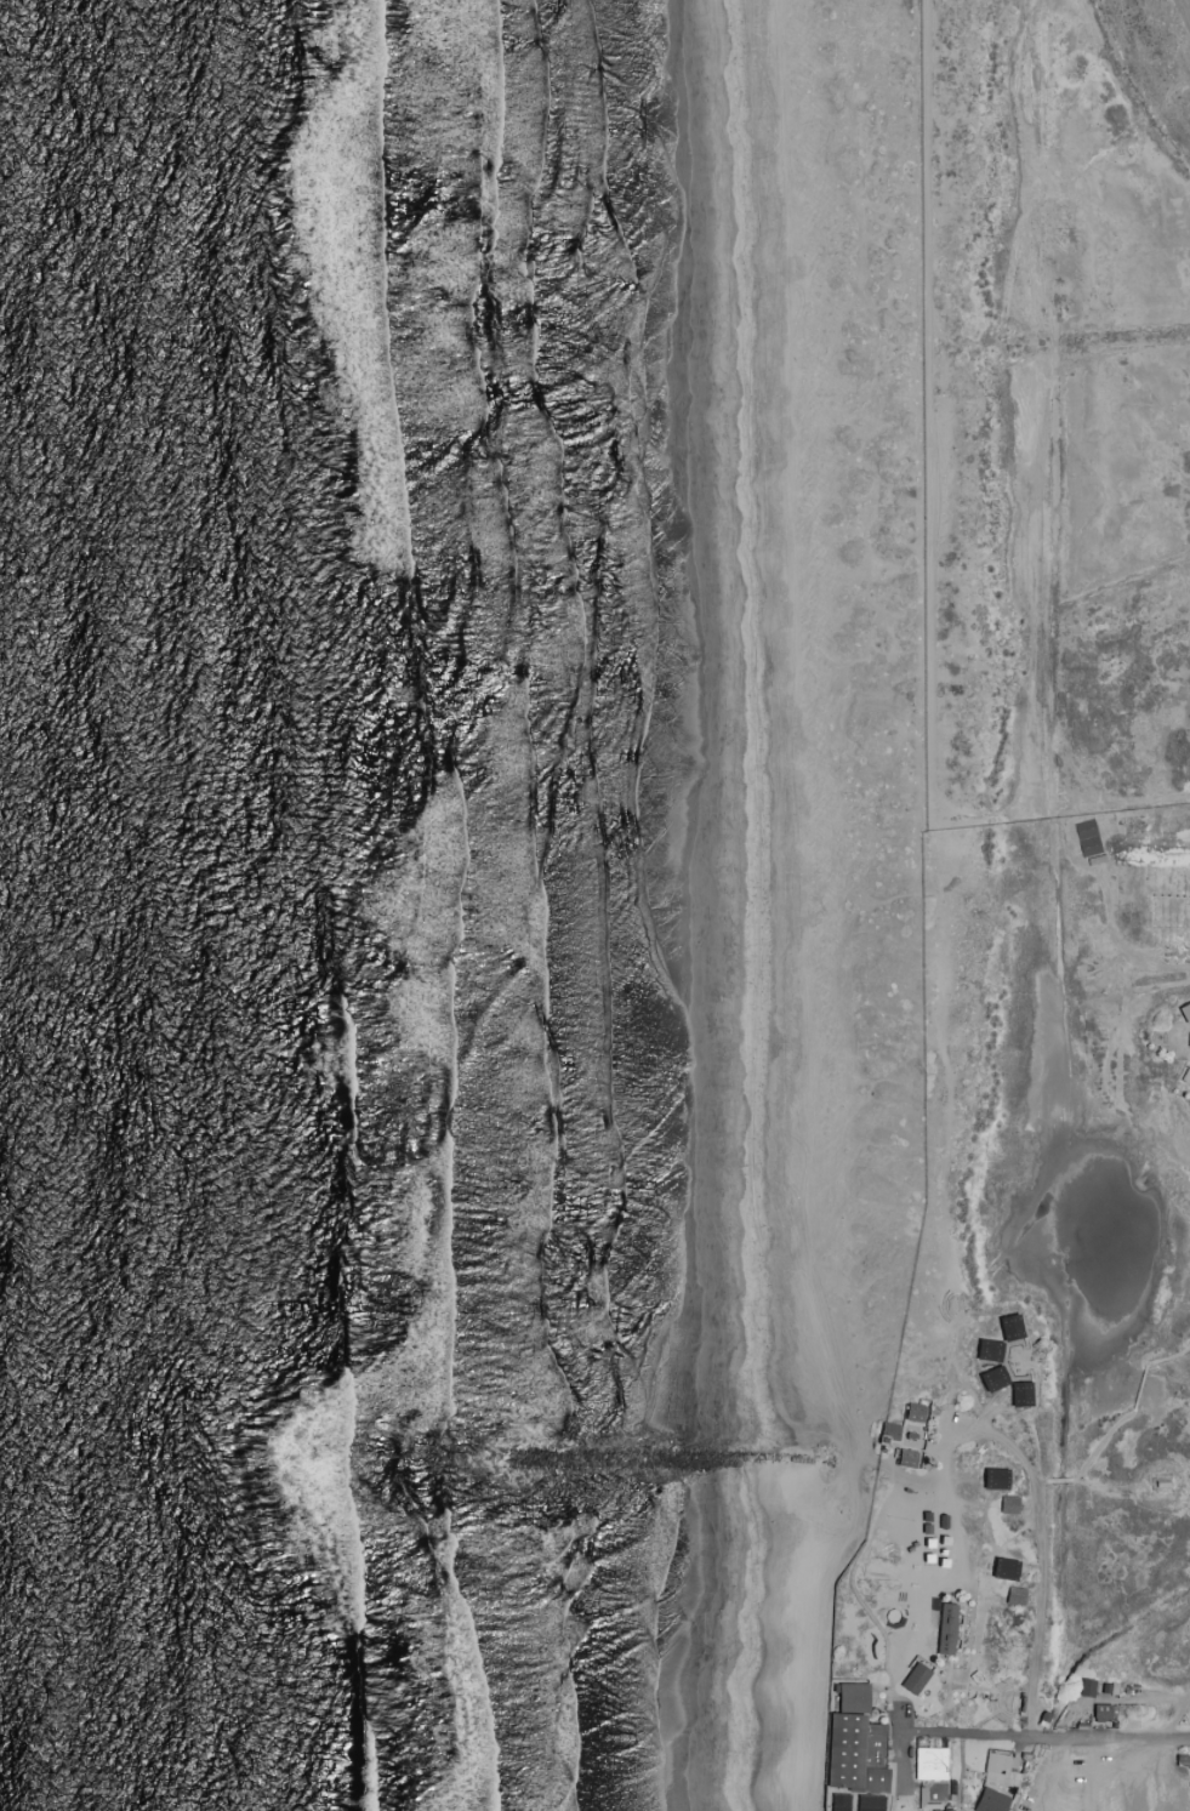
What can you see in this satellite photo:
building: (1175, 815)
building: (1183, 1010)
building: (1188, 1038)
building: (1006, 1327)
building: (984, 1349)
building: (989, 1378)
building: (1015, 1393)
building: (910, 1412)
building: (886, 1430)
building: (990, 1477)
building: (1004, 1504)
road: (1042, 1553)
building: (1000, 1568)
building: (1015, 1596)
park: (894, 1616)
building: (947, 1628)
building: (915, 1679)
building: (1082, 1687)
building: (1098, 1712)
road: (1047, 1732)
building: (858, 1742)
building: (932, 1764)
building: (998, 1772)
building: (992, 1803)

